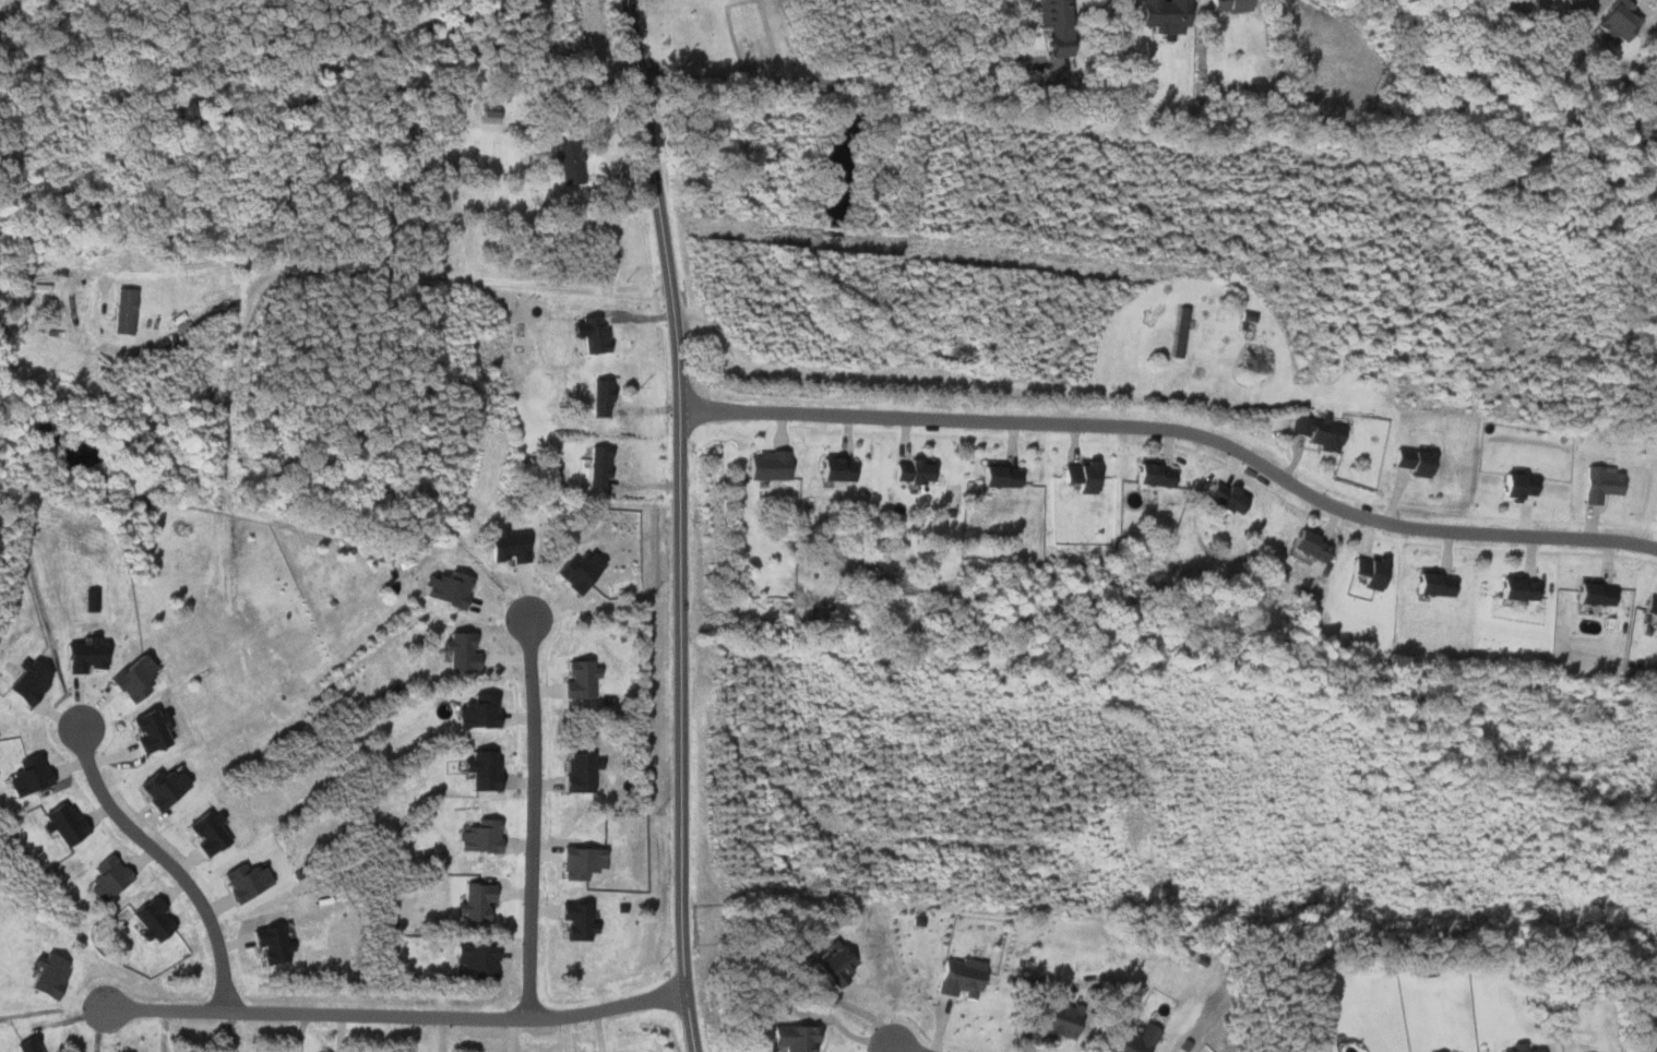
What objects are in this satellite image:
building: (1560, 1)
building: (1224, 5)
building: (1161, 15)
building: (1616, 20)
building: (1052, 26)
road: (847, 80)
building: (488, 117)
building: (569, 162)
road: (294, 265)
road: (200, 272)
building: (120, 312)
building: (591, 335)
building: (954, 352)
building: (1252, 361)
building: (597, 396)
road: (1178, 430)
building: (1315, 432)
building: (1410, 461)
building: (599, 465)
building: (765, 465)
building: (833, 469)
building: (908, 470)
building: (1151, 475)
building: (997, 476)
building: (1080, 476)
building: (1599, 483)
building: (1515, 485)
building: (1221, 497)
road: (678, 524)
building: (1306, 545)
building: (509, 546)
building: (580, 571)
building: (1364, 571)
building: (1429, 583)
building: (449, 588)
building: (1514, 588)
building: (1592, 594)
building: (1649, 609)
building: (461, 650)
building: (83, 655)
building: (130, 679)
building: (581, 679)
building: (24, 680)
building: (473, 712)
building: (147, 730)
building: (477, 768)
building: (575, 770)
building: (23, 776)
building: (162, 788)
road: (527, 818)
building: (60, 822)
building: (204, 833)
building: (475, 836)
road: (159, 860)
building: (576, 862)
building: (103, 877)
building: (241, 880)
building: (472, 901)
building: (147, 918)
building: (573, 920)
building: (267, 942)
building: (474, 958)
building: (43, 975)
building: (958, 977)
road: (396, 1016)
building: (1053, 1026)
building: (790, 1037)
building: (1134, 1039)
building: (23, 1044)
building: (1642, 1047)
building: (1518, 1048)
road: (901, 1049)

